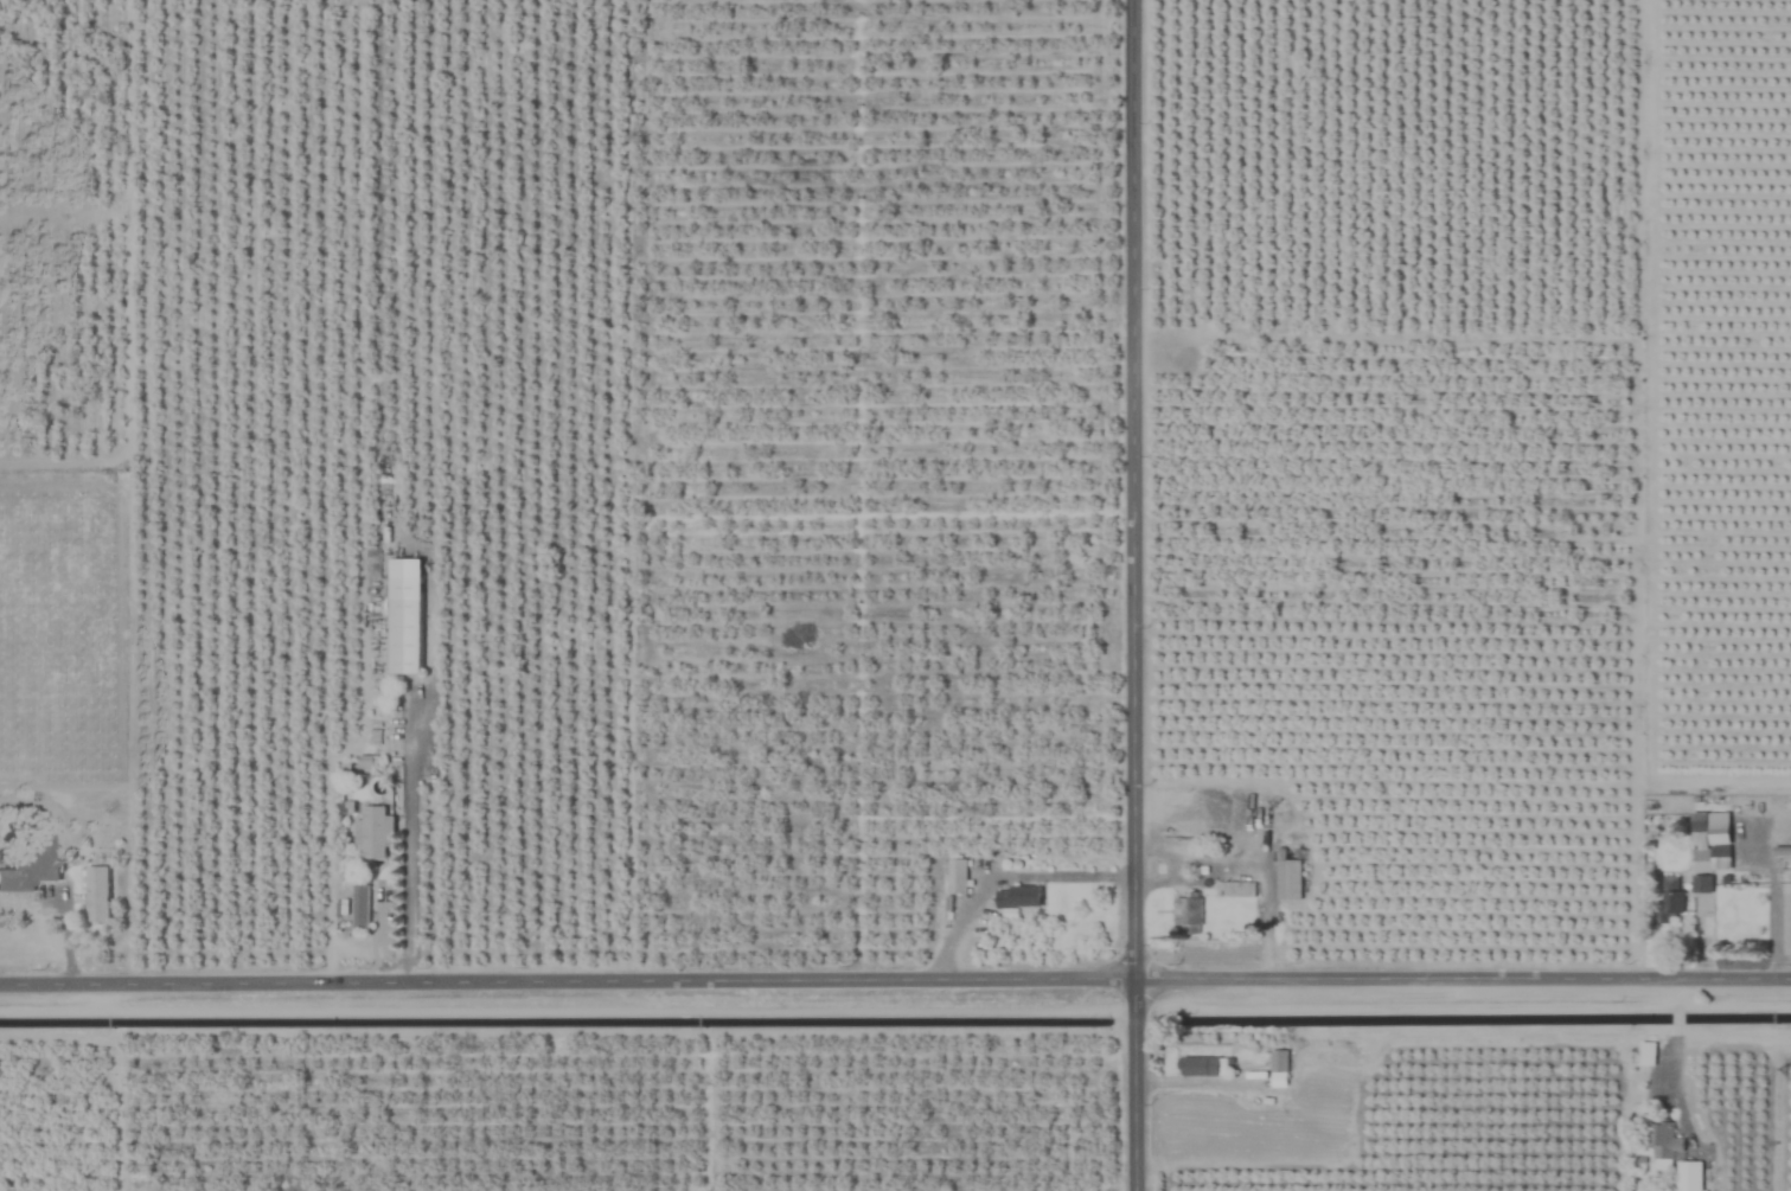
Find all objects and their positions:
road: (1134, 595)
building: (403, 635)
building: (373, 833)
building: (1709, 841)
road: (408, 843)
building: (28, 860)
road: (1252, 864)
building: (955, 876)
building: (1287, 881)
building: (1701, 884)
building: (1234, 890)
building: (96, 894)
building: (1017, 897)
building: (1670, 899)
building: (359, 907)
building: (1188, 916)
road: (895, 978)
road: (1676, 995)
road: (1675, 1018)
building: (1645, 1054)
building: (1278, 1061)
road: (1670, 1061)
building: (1197, 1067)
building: (1663, 1144)
building: (1688, 1176)

